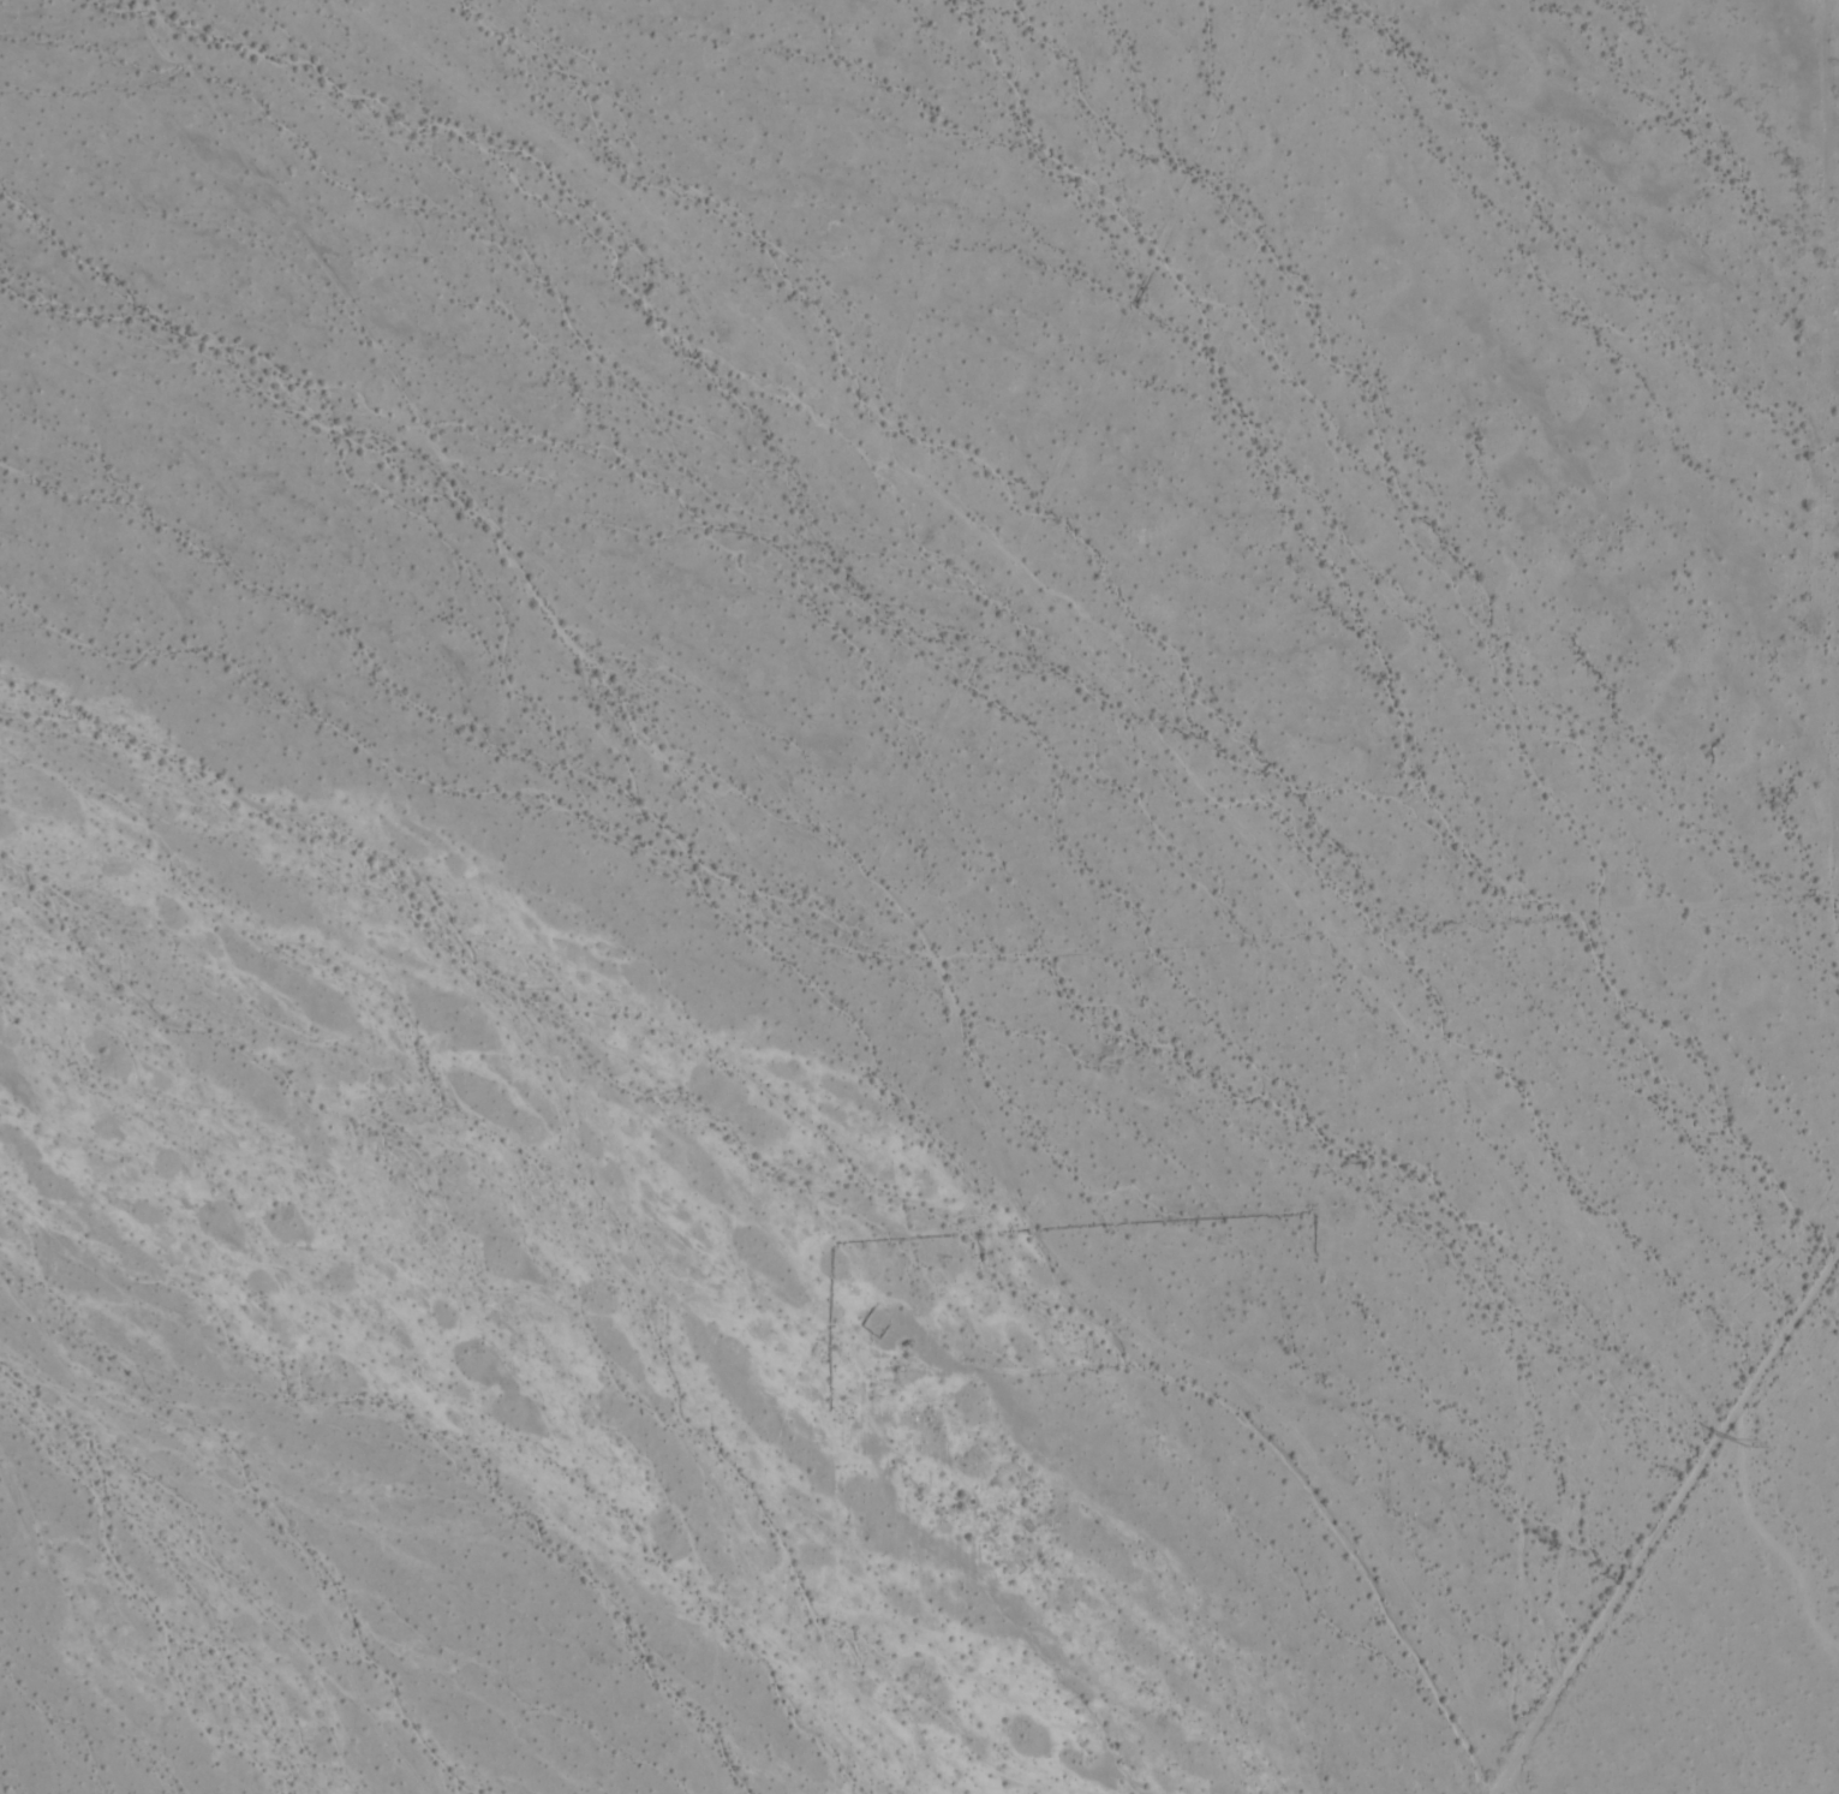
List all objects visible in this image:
road: (1827, 250)
road: (1820, 453)
power tower: (1739, 1450)
road: (1665, 1518)

